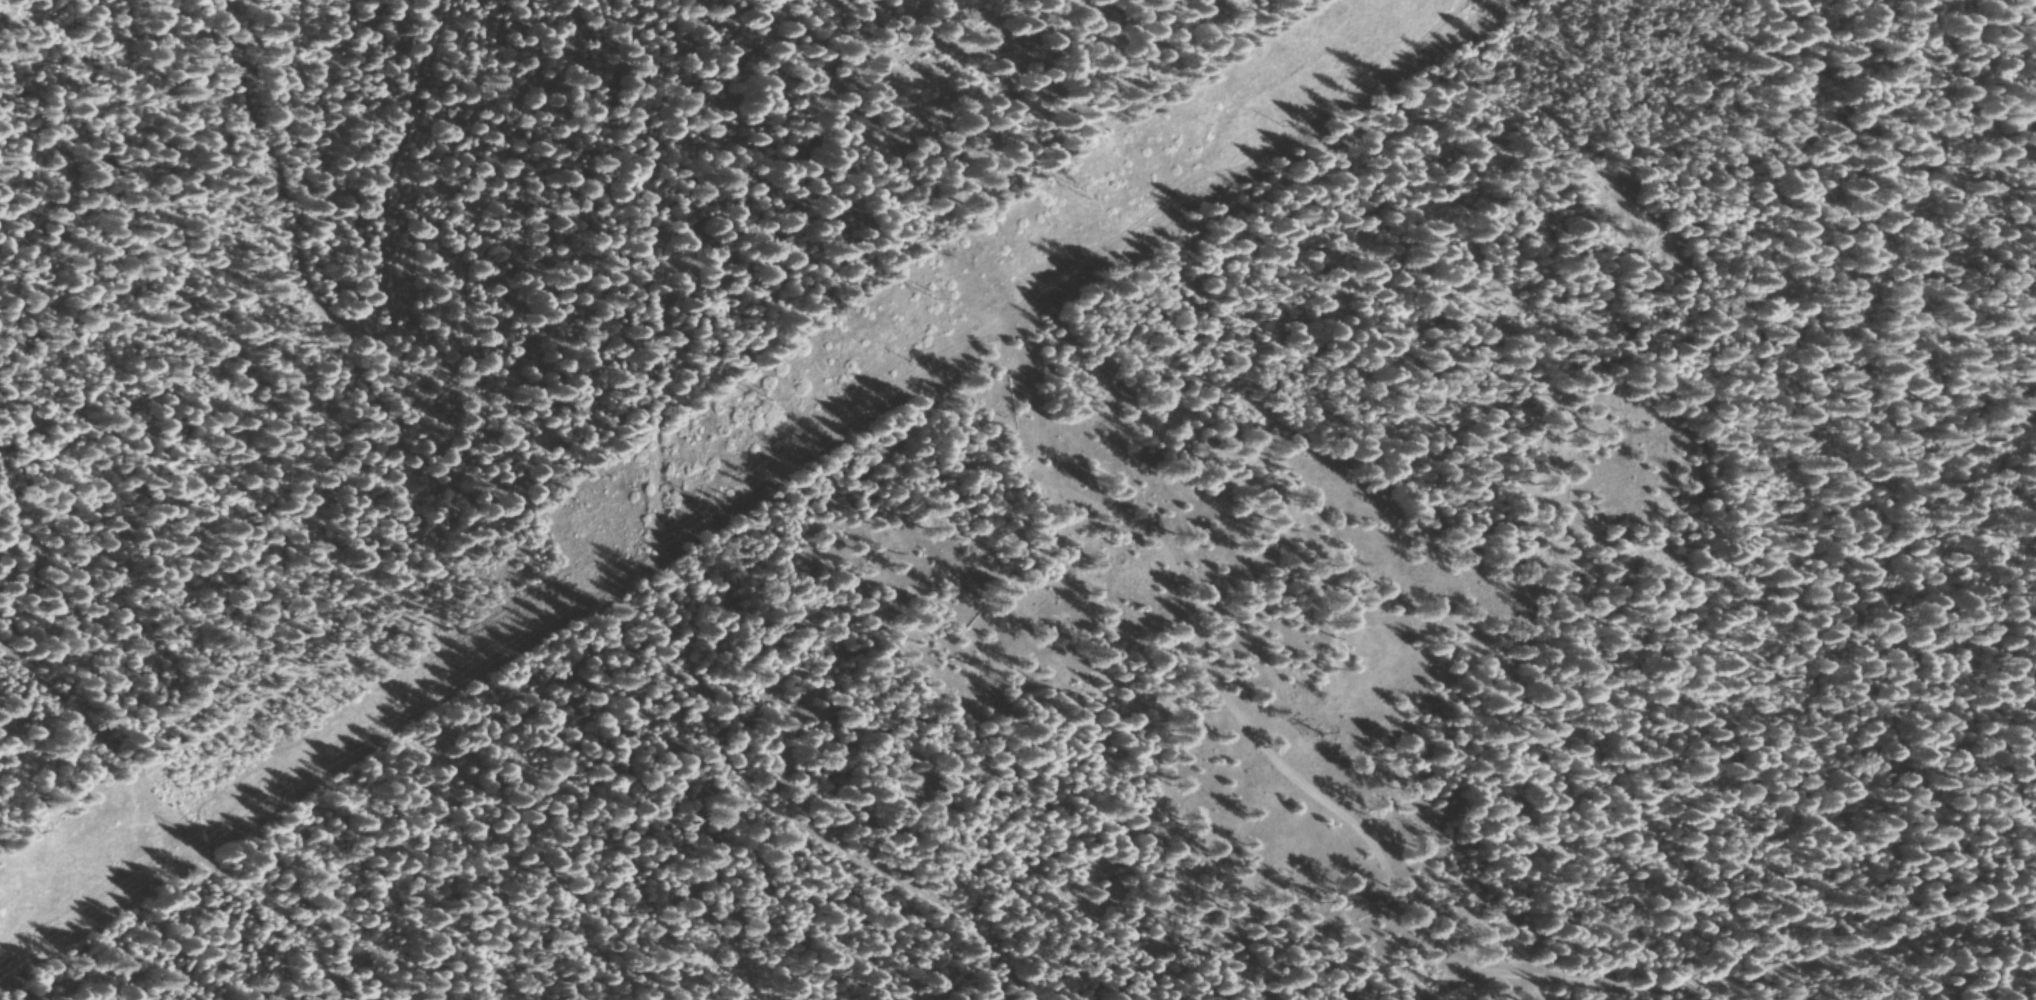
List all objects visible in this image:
power tower: (1083, 192)
road: (310, 218)
power tower: (930, 294)
power tower: (770, 394)
power tower: (704, 515)
road: (739, 538)
road: (166, 827)
power tower: (195, 840)
road: (1737, 941)

